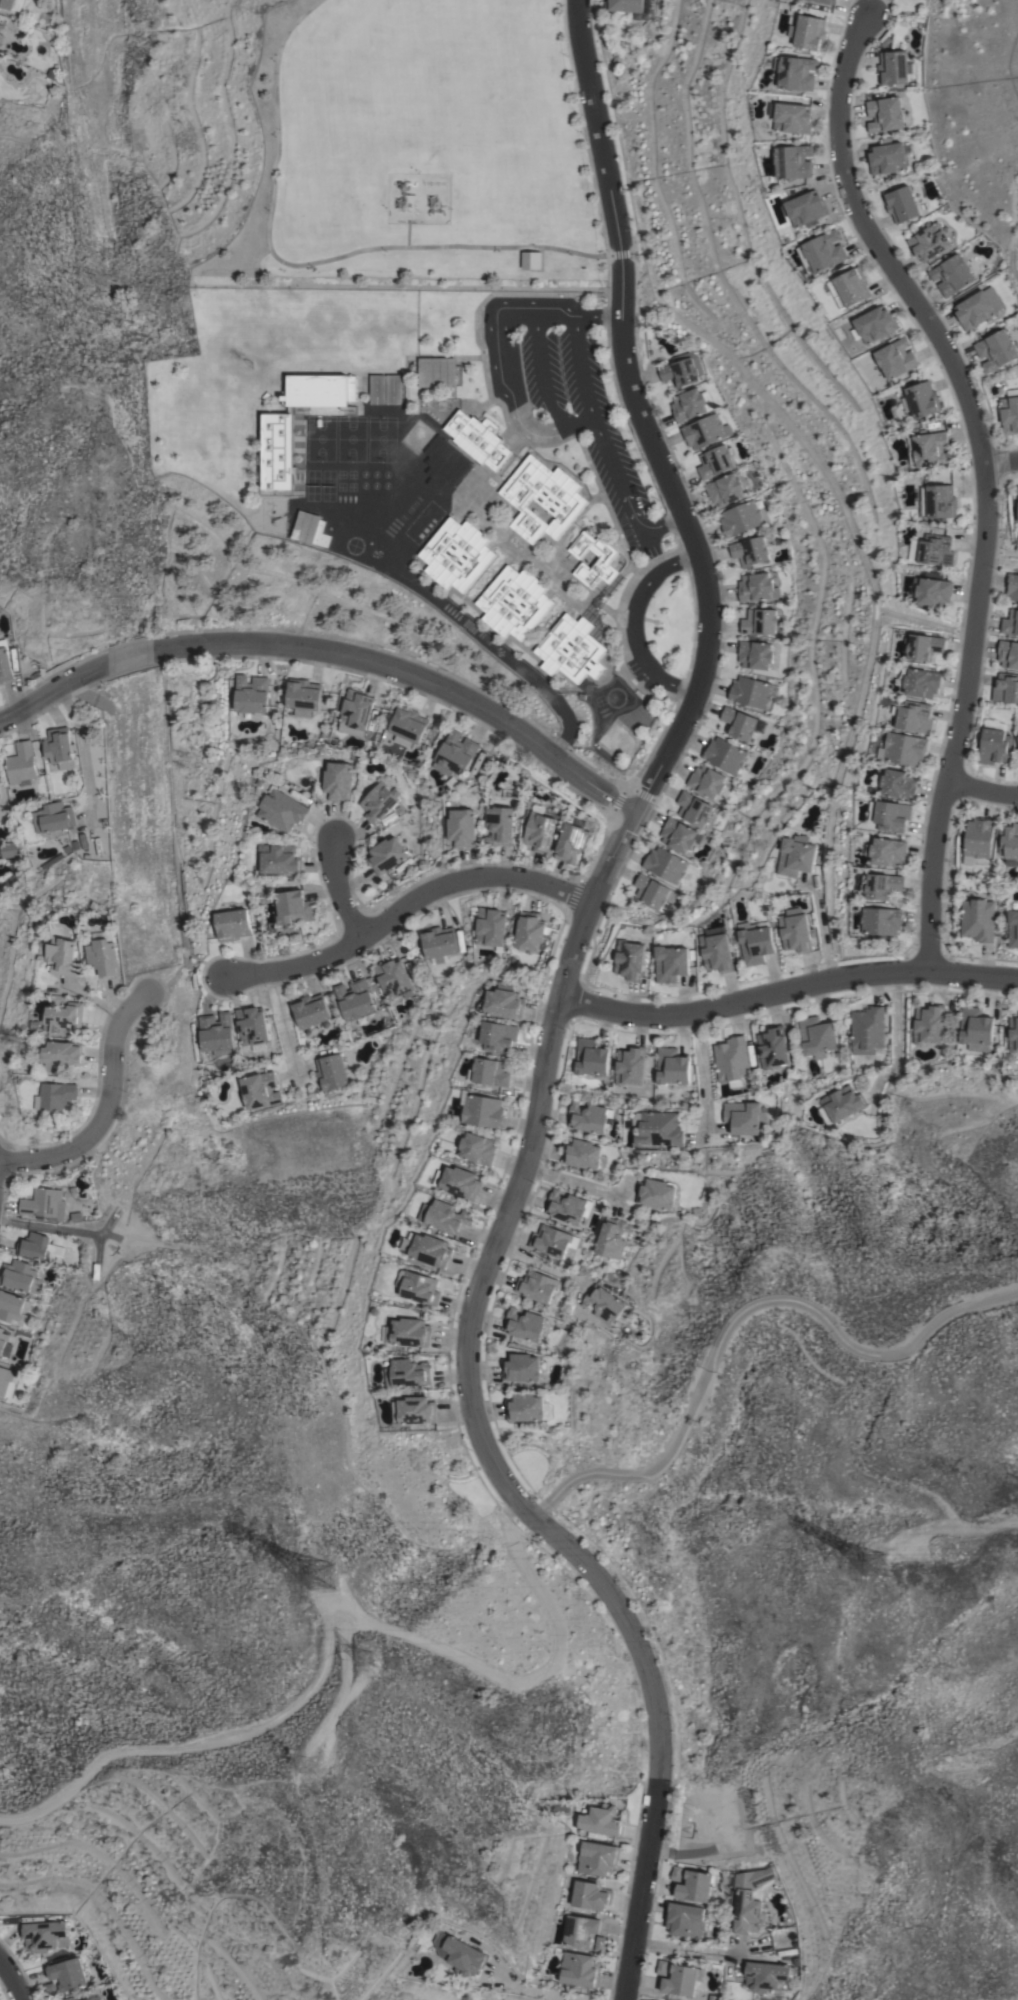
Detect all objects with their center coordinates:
building: (827, 1)
building: (11, 4)
building: (624, 5)
building: (0, 22)
building: (0, 26)
building: (809, 32)
building: (0, 38)
building: (895, 67)
building: (795, 72)
building: (885, 114)
building: (793, 115)
park: (410, 150)
building: (887, 158)
building: (794, 161)
road: (283, 184)
building: (901, 204)
building: (807, 209)
building: (929, 241)
road: (504, 247)
building: (823, 251)
building: (530, 260)
building: (951, 274)
building: (853, 286)
building: (992, 298)
building: (974, 310)
building: (875, 324)
building: (996, 350)
building: (895, 358)
road: (539, 360)
building: (681, 369)
building: (436, 371)
road: (510, 378)
building: (377, 388)
building: (393, 388)
building: (921, 399)
building: (690, 403)
building: (1009, 411)
road: (594, 429)
building: (704, 431)
building: (477, 438)
road: (1004, 446)
building: (928, 448)
building: (277, 451)
road: (997, 460)
building: (716, 461)
building: (445, 463)
road: (1002, 464)
road: (985, 476)
building: (727, 488)
building: (1017, 495)
building: (542, 498)
building: (938, 501)
building: (740, 518)
building: (310, 528)
building: (932, 549)
road: (1000, 549)
building: (749, 551)
building: (457, 554)
road: (1000, 556)
road: (863, 559)
building: (603, 560)
building: (1012, 586)
building: (756, 587)
building: (932, 591)
building: (515, 602)
road: (635, 621)
building: (758, 621)
road: (924, 622)
building: (1010, 622)
road: (465, 626)
building: (924, 646)
building: (571, 649)
building: (1008, 653)
building: (754, 654)
road: (128, 659)
building: (5, 662)
road: (412, 669)
building: (920, 681)
building: (585, 683)
building: (1006, 688)
building: (752, 691)
road: (52, 693)
building: (251, 693)
building: (303, 696)
building: (357, 709)
building: (914, 716)
building: (739, 723)
building: (408, 725)
building: (1017, 736)
building: (994, 742)
building: (59, 747)
building: (905, 748)
road: (84, 753)
building: (455, 753)
building: (724, 754)
building: (21, 763)
building: (338, 780)
building: (706, 780)
building: (899, 784)
road: (983, 790)
building: (379, 800)
building: (693, 809)
building: (283, 810)
building: (889, 815)
building: (53, 817)
building: (500, 825)
building: (463, 827)
building: (540, 831)
building: (678, 834)
building: (977, 839)
building: (572, 840)
building: (1008, 843)
building: (9, 849)
building: (886, 851)
building: (386, 855)
building: (796, 855)
building: (280, 859)
building: (667, 865)
building: (881, 885)
road: (339, 890)
building: (650, 890)
road: (405, 902)
building: (294, 907)
building: (978, 919)
building: (879, 921)
building: (233, 924)
building: (491, 927)
building: (1013, 928)
building: (529, 930)
building: (795, 930)
road: (822, 930)
building: (756, 941)
building: (439, 943)
building: (716, 952)
building: (64, 956)
building: (104, 957)
building: (630, 960)
building: (671, 963)
building: (394, 978)
road: (789, 990)
building: (354, 999)
building: (504, 1003)
building: (310, 1010)
road: (561, 1012)
road: (281, 1015)
building: (65, 1018)
building: (929, 1024)
building: (975, 1026)
building: (252, 1027)
building: (216, 1031)
building: (868, 1031)
road: (896, 1032)
building: (1013, 1034)
building: (499, 1036)
building: (816, 1036)
building: (773, 1048)
building: (63, 1054)
building: (590, 1057)
building: (731, 1061)
building: (629, 1065)
building: (671, 1066)
building: (330, 1071)
road: (701, 1071)
building: (490, 1072)
building: (260, 1089)
building: (56, 1095)
road: (103, 1104)
building: (840, 1104)
building: (483, 1110)
building: (588, 1117)
building: (743, 1117)
building: (657, 1128)
building: (478, 1148)
building: (581, 1153)
road: (575, 1178)
building: (460, 1182)
building: (656, 1193)
building: (43, 1203)
building: (566, 1206)
building: (445, 1216)
building: (611, 1238)
building: (550, 1240)
building: (34, 1245)
building: (429, 1249)
road: (539, 1265)
building: (20, 1276)
building: (420, 1286)
building: (537, 1286)
building: (603, 1303)
building: (12, 1305)
road: (740, 1314)
building: (524, 1324)
building: (409, 1332)
building: (4, 1344)
building: (521, 1367)
building: (408, 1372)
building: (4, 1378)
building: (527, 1408)
building: (414, 1410)
power tower: (333, 1580)
power tower: (371, 1659)
power tower: (310, 1770)
building: (602, 1820)
building: (597, 1858)
building: (676, 1872)
building: (696, 1886)
building: (590, 1895)
building: (750, 1899)
building: (685, 1919)
building: (580, 1929)
building: (44, 1934)
building: (599, 1943)
road: (703, 1951)
building: (458, 1953)
building: (661, 1967)
building: (579, 1969)
building: (68, 1974)
building: (767, 1976)
road: (13, 1979)
building: (682, 1979)
road: (528, 1989)
building: (51, 1990)
building: (74, 1998)
building: (87, 1999)

